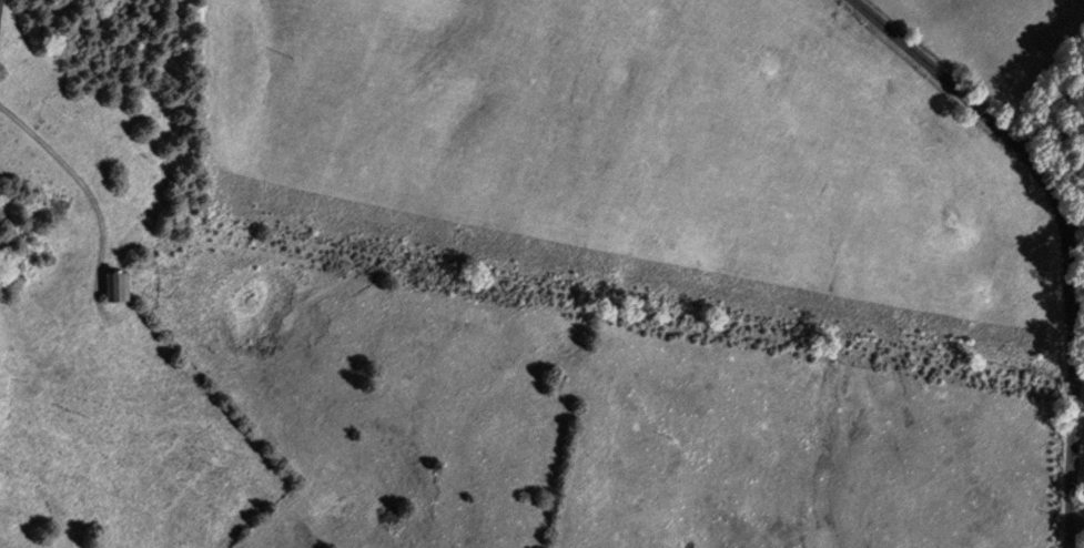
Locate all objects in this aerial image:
road: (1048, 104)
road: (88, 192)
road: (1068, 231)
building: (122, 286)
road: (1078, 517)

